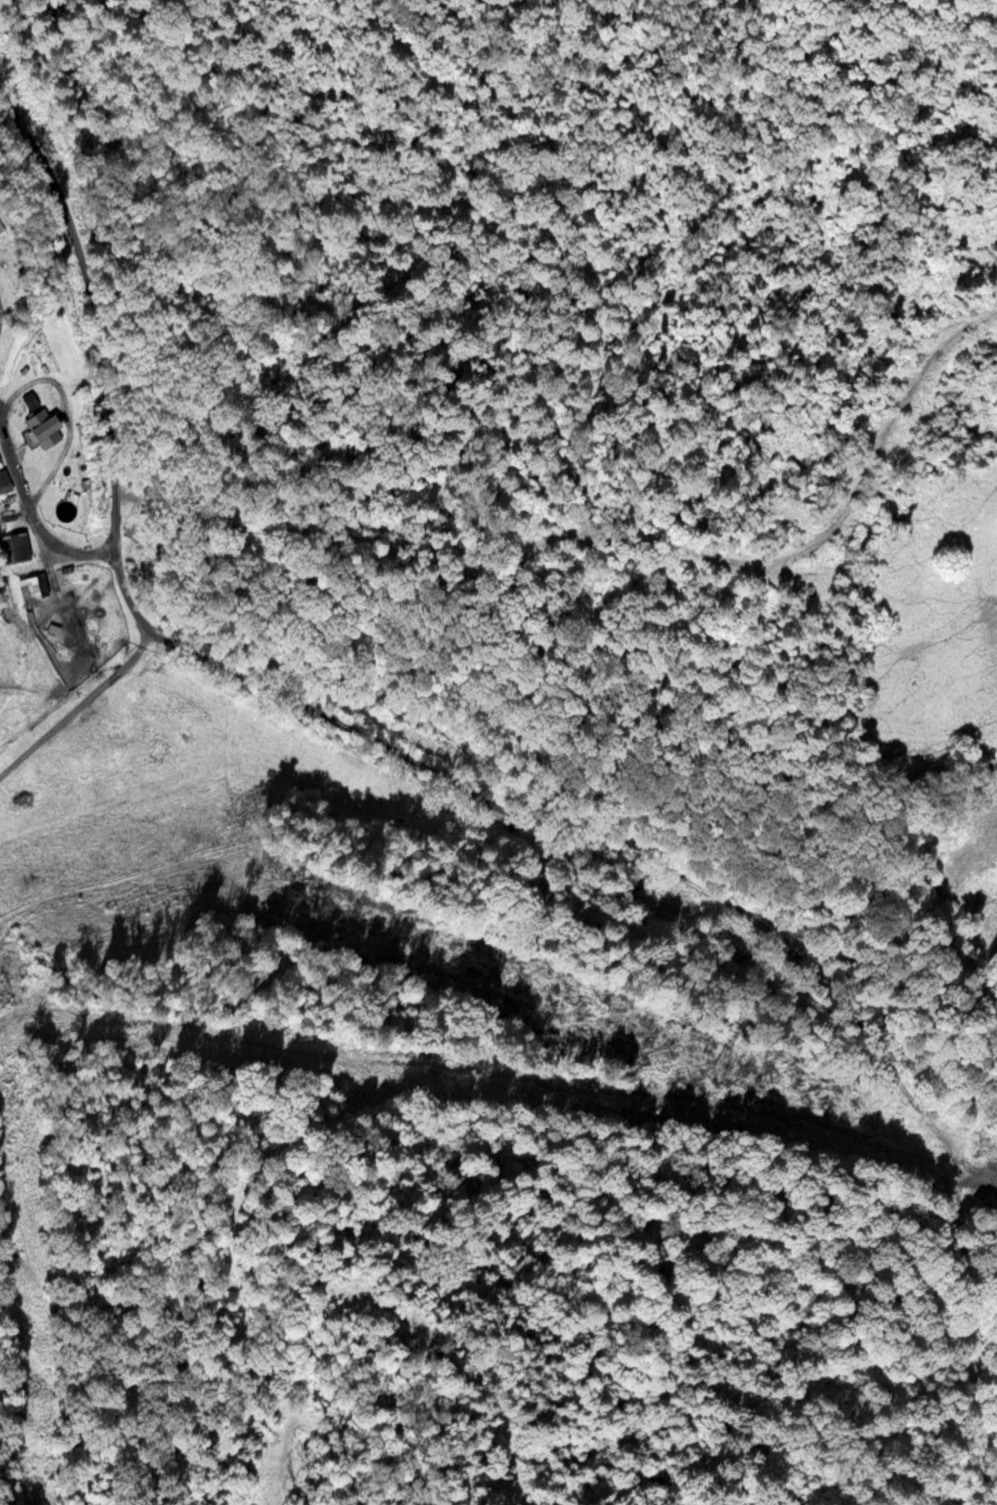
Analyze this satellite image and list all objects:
building: (29, 399)
building: (41, 427)
building: (4, 480)
building: (14, 545)
building: (32, 584)
road: (333, 692)
building: (274, 767)

